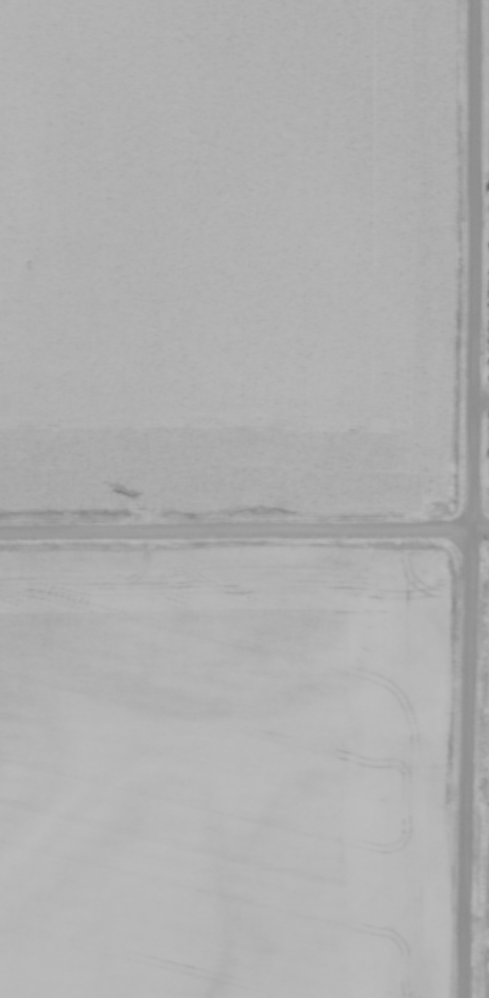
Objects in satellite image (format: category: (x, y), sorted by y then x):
road: (479, 405)
road: (469, 499)
road: (244, 532)

